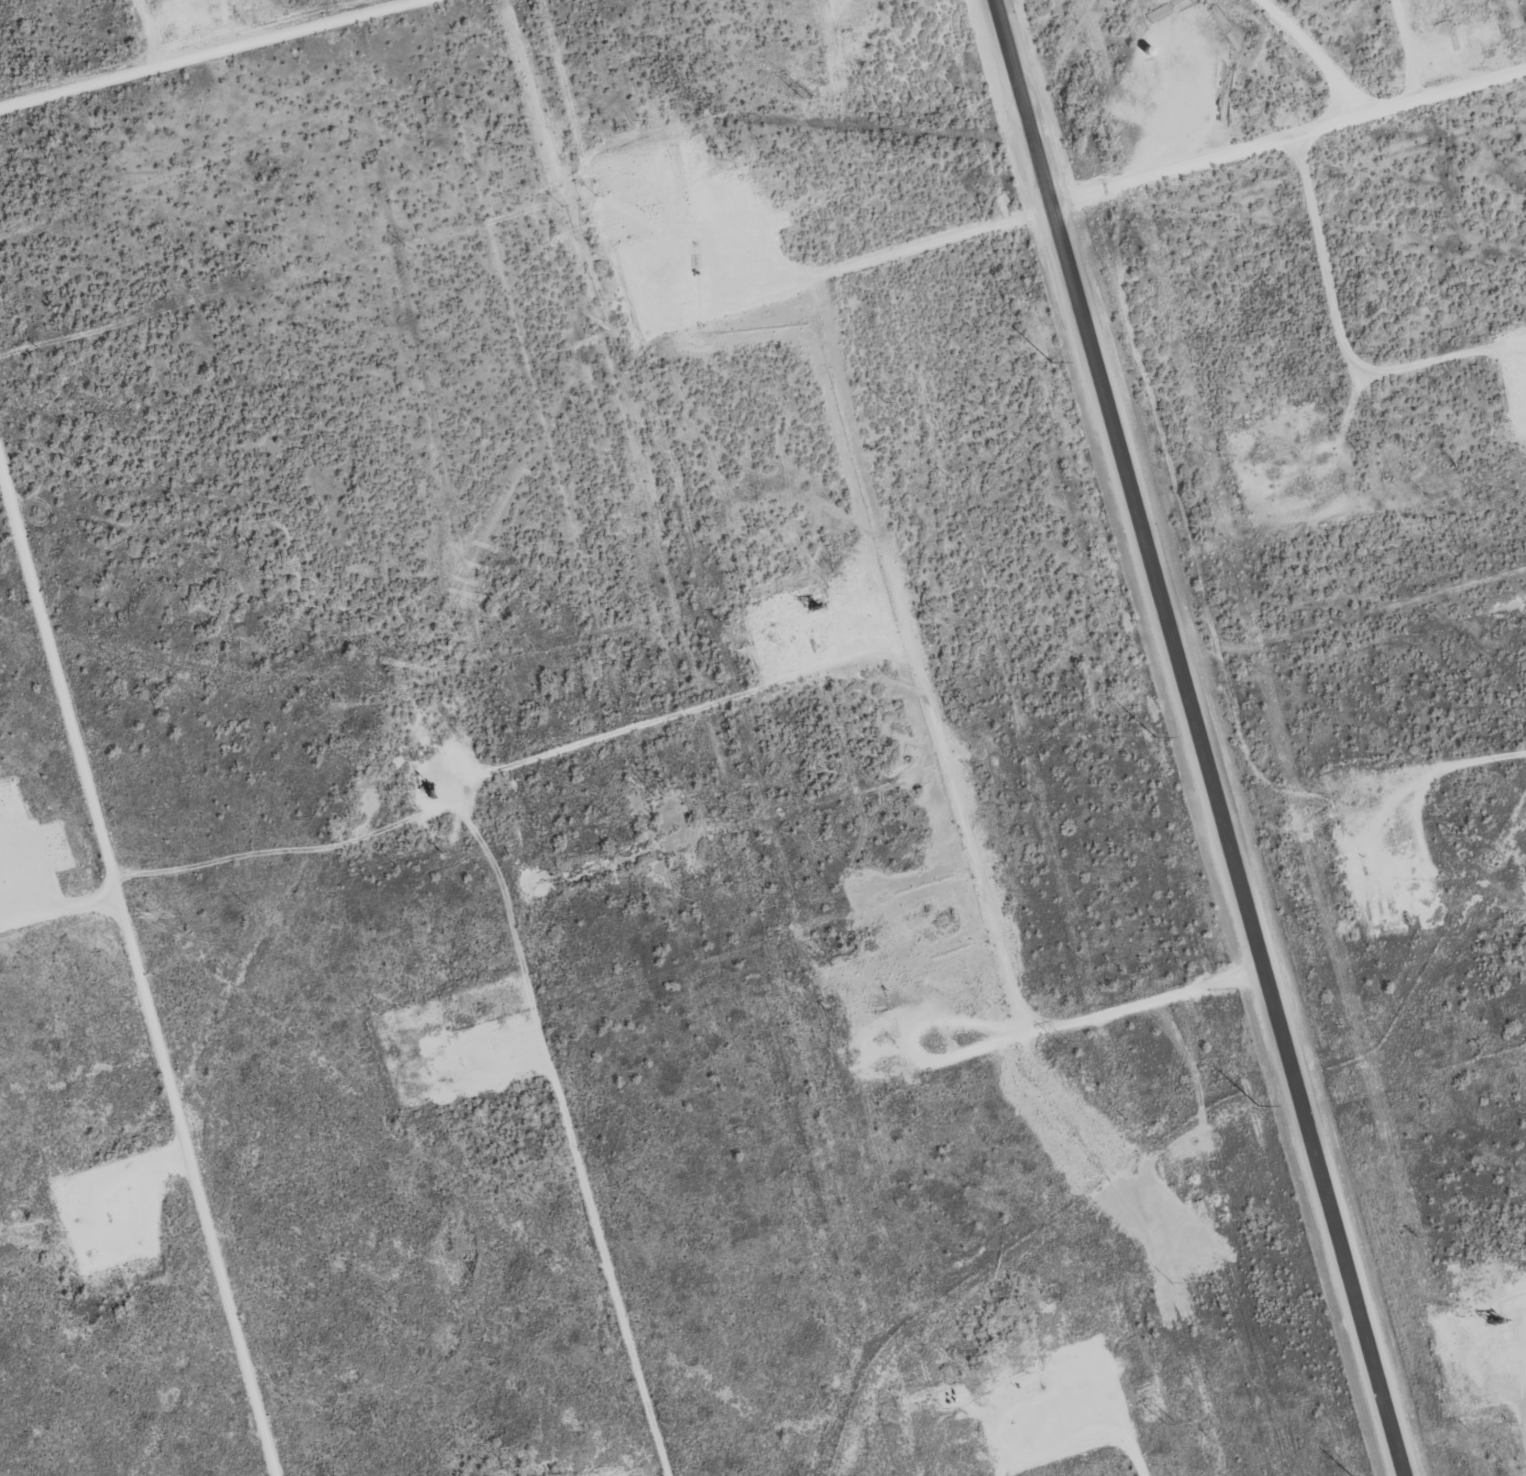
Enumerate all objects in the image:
power tower: (805, 96)
road: (1286, 137)
power tower: (888, 400)
power tower: (971, 708)
road: (1196, 737)
road: (137, 962)
power tower: (1064, 1041)
power tower: (1169, 1418)

